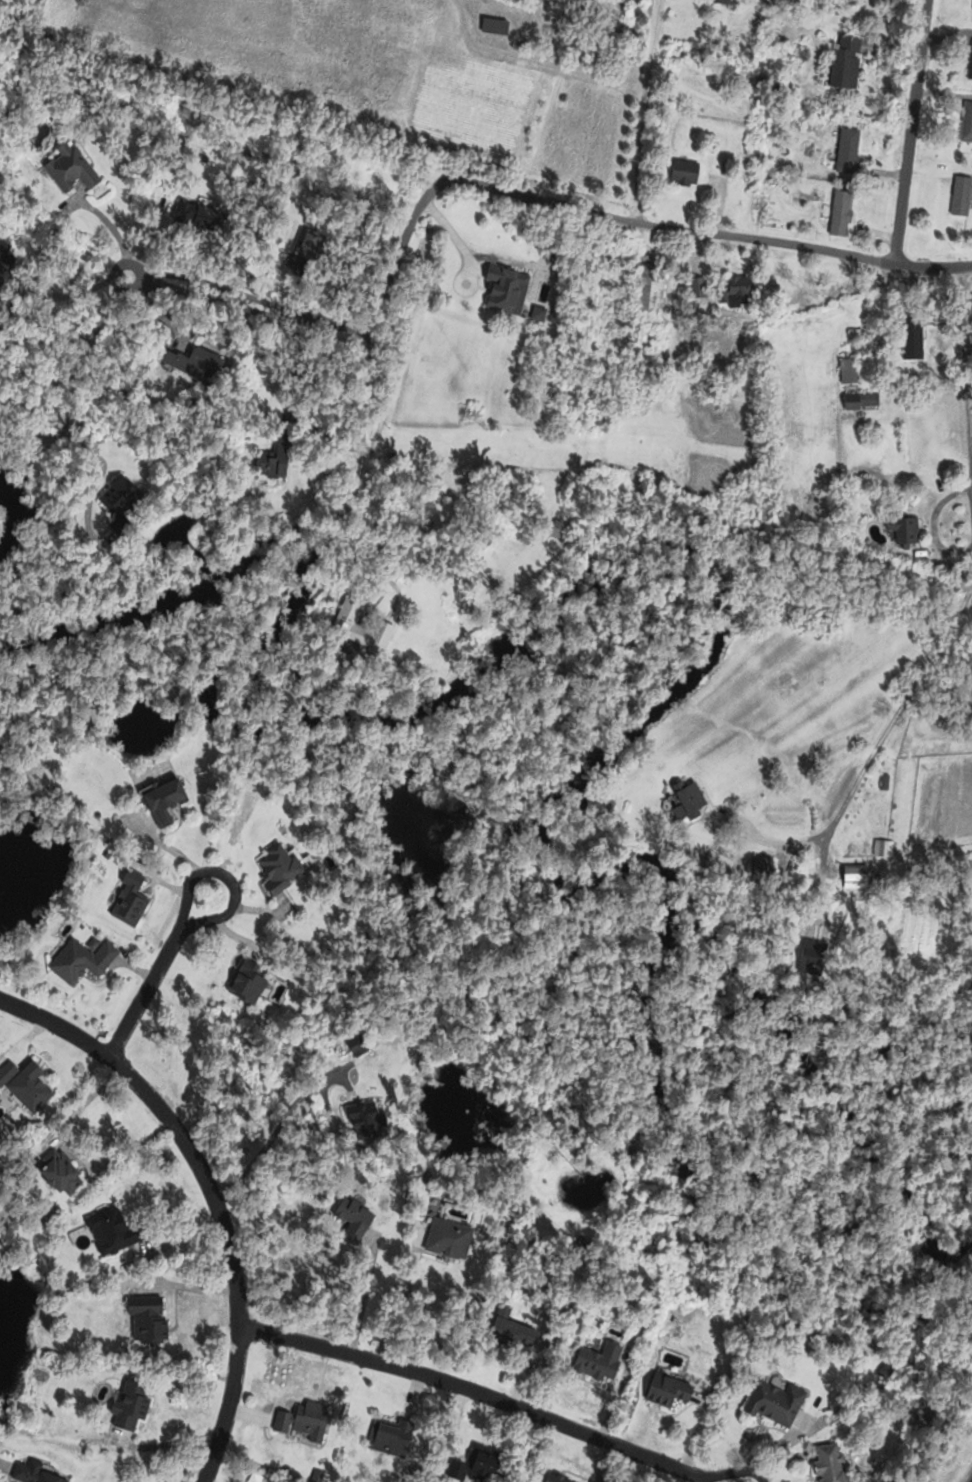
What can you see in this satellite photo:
building: (783, 2)
building: (720, 3)
building: (495, 26)
building: (969, 62)
building: (841, 63)
building: (575, 97)
road: (651, 111)
building: (486, 113)
building: (965, 126)
road: (910, 131)
building: (843, 153)
building: (72, 168)
building: (685, 172)
building: (959, 197)
road: (421, 200)
building: (197, 216)
building: (836, 216)
road: (115, 233)
building: (311, 246)
building: (5, 261)
building: (535, 289)
building: (650, 289)
building: (742, 291)
road: (43, 337)
building: (908, 339)
building: (202, 364)
building: (844, 372)
road: (964, 372)
road: (292, 373)
building: (856, 403)
road: (100, 459)
building: (278, 462)
building: (122, 504)
building: (563, 529)
building: (905, 529)
building: (380, 534)
building: (361, 628)
road: (876, 747)
building: (692, 797)
building: (165, 799)
building: (280, 867)
building: (759, 869)
building: (856, 876)
building: (128, 901)
building: (77, 961)
road: (155, 973)
building: (248, 981)
building: (30, 1087)
building: (363, 1118)
building: (63, 1175)
road: (211, 1194)
building: (360, 1217)
building: (116, 1230)
building: (451, 1239)
road: (365, 1296)
road: (397, 1307)
building: (149, 1318)
building: (518, 1333)
building: (602, 1361)
building: (669, 1390)
road: (478, 1393)
building: (778, 1400)
building: (132, 1405)
building: (928, 1417)
building: (303, 1421)
building: (390, 1436)
building: (831, 1463)
building: (482, 1467)
building: (38, 1473)

